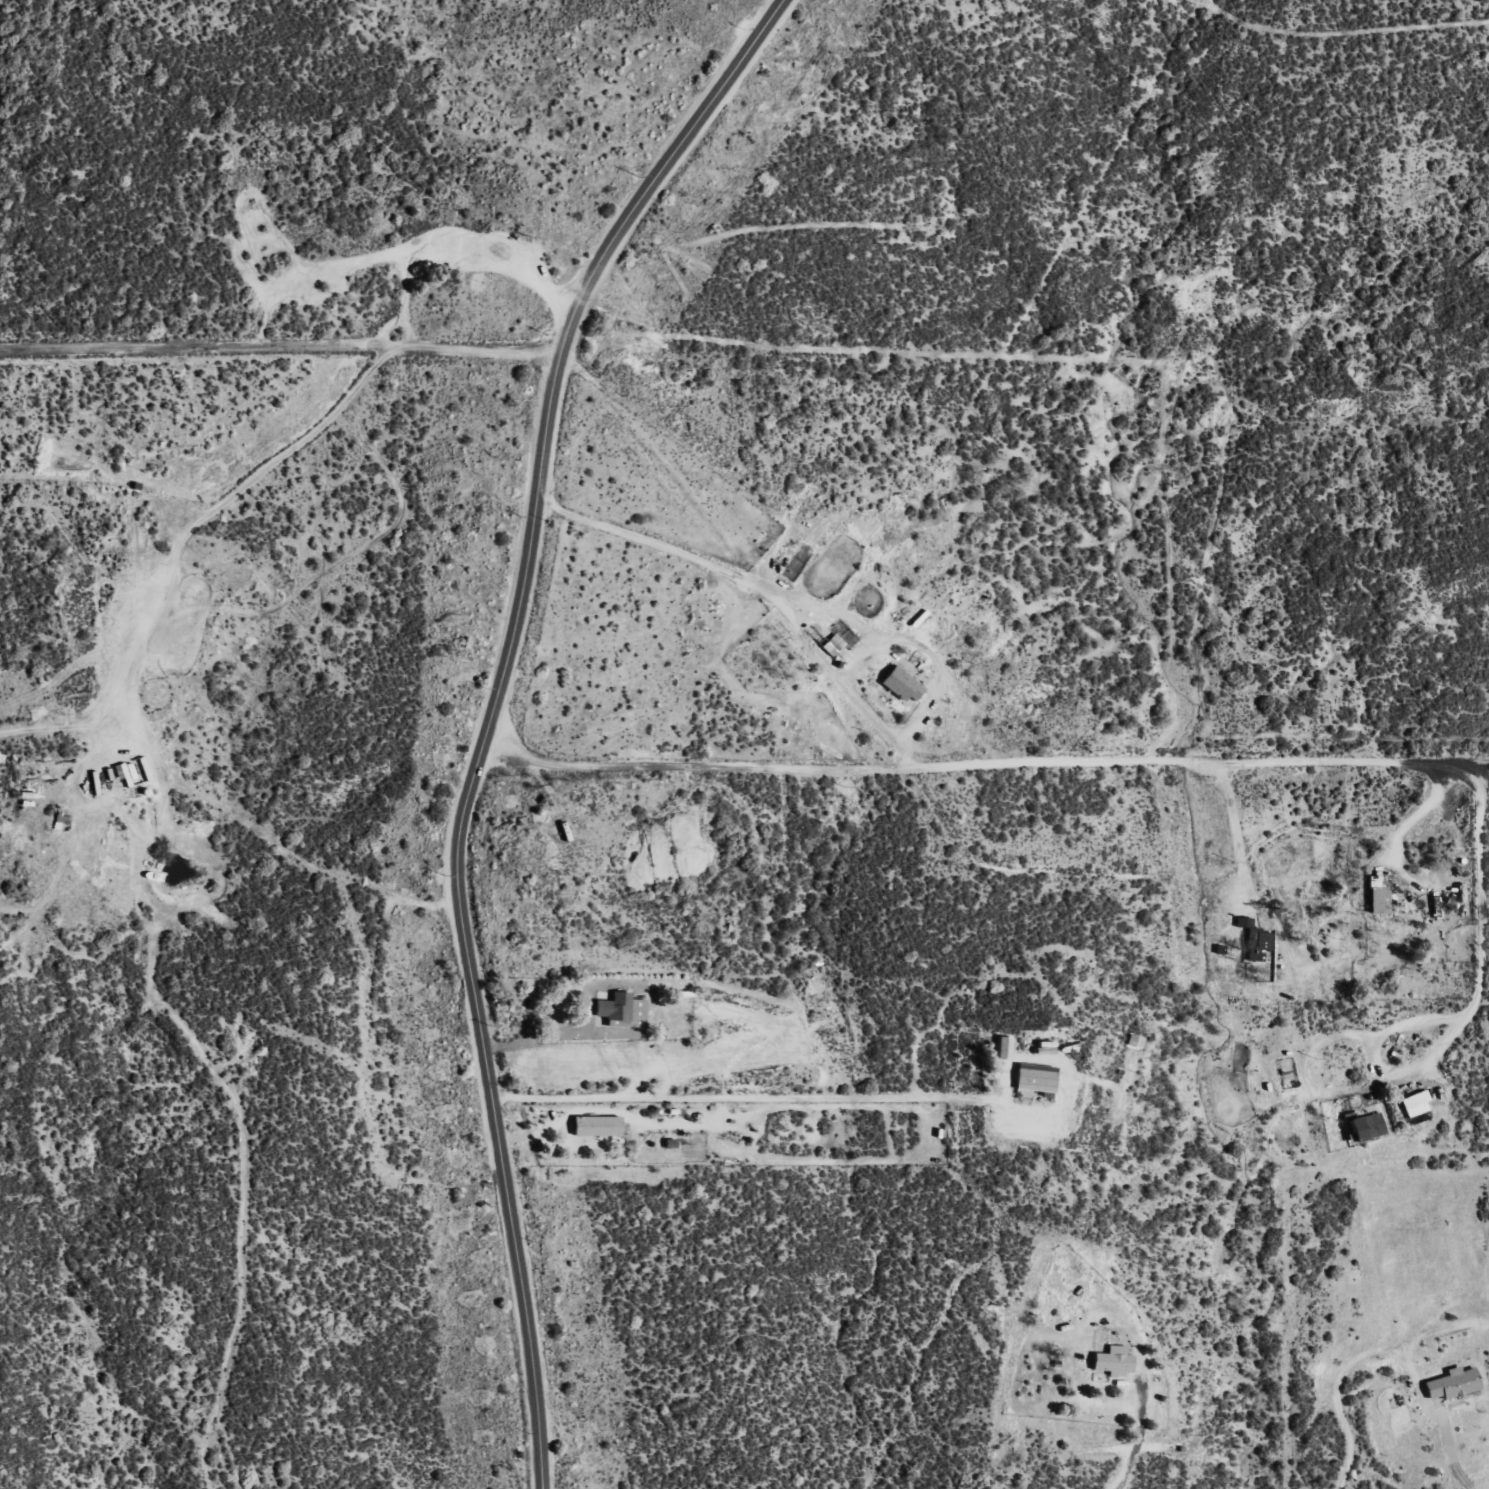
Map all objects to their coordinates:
road: (278, 362)
road: (671, 471)
road: (656, 543)
road: (849, 618)
building: (832, 645)
building: (900, 685)
road: (489, 712)
road: (982, 768)
building: (1377, 896)
building: (620, 1009)
building: (1003, 1048)
building: (1034, 1079)
building: (1414, 1104)
building: (595, 1127)
building: (1365, 1127)
building: (1113, 1361)
building: (1452, 1384)
road: (931, 1434)

